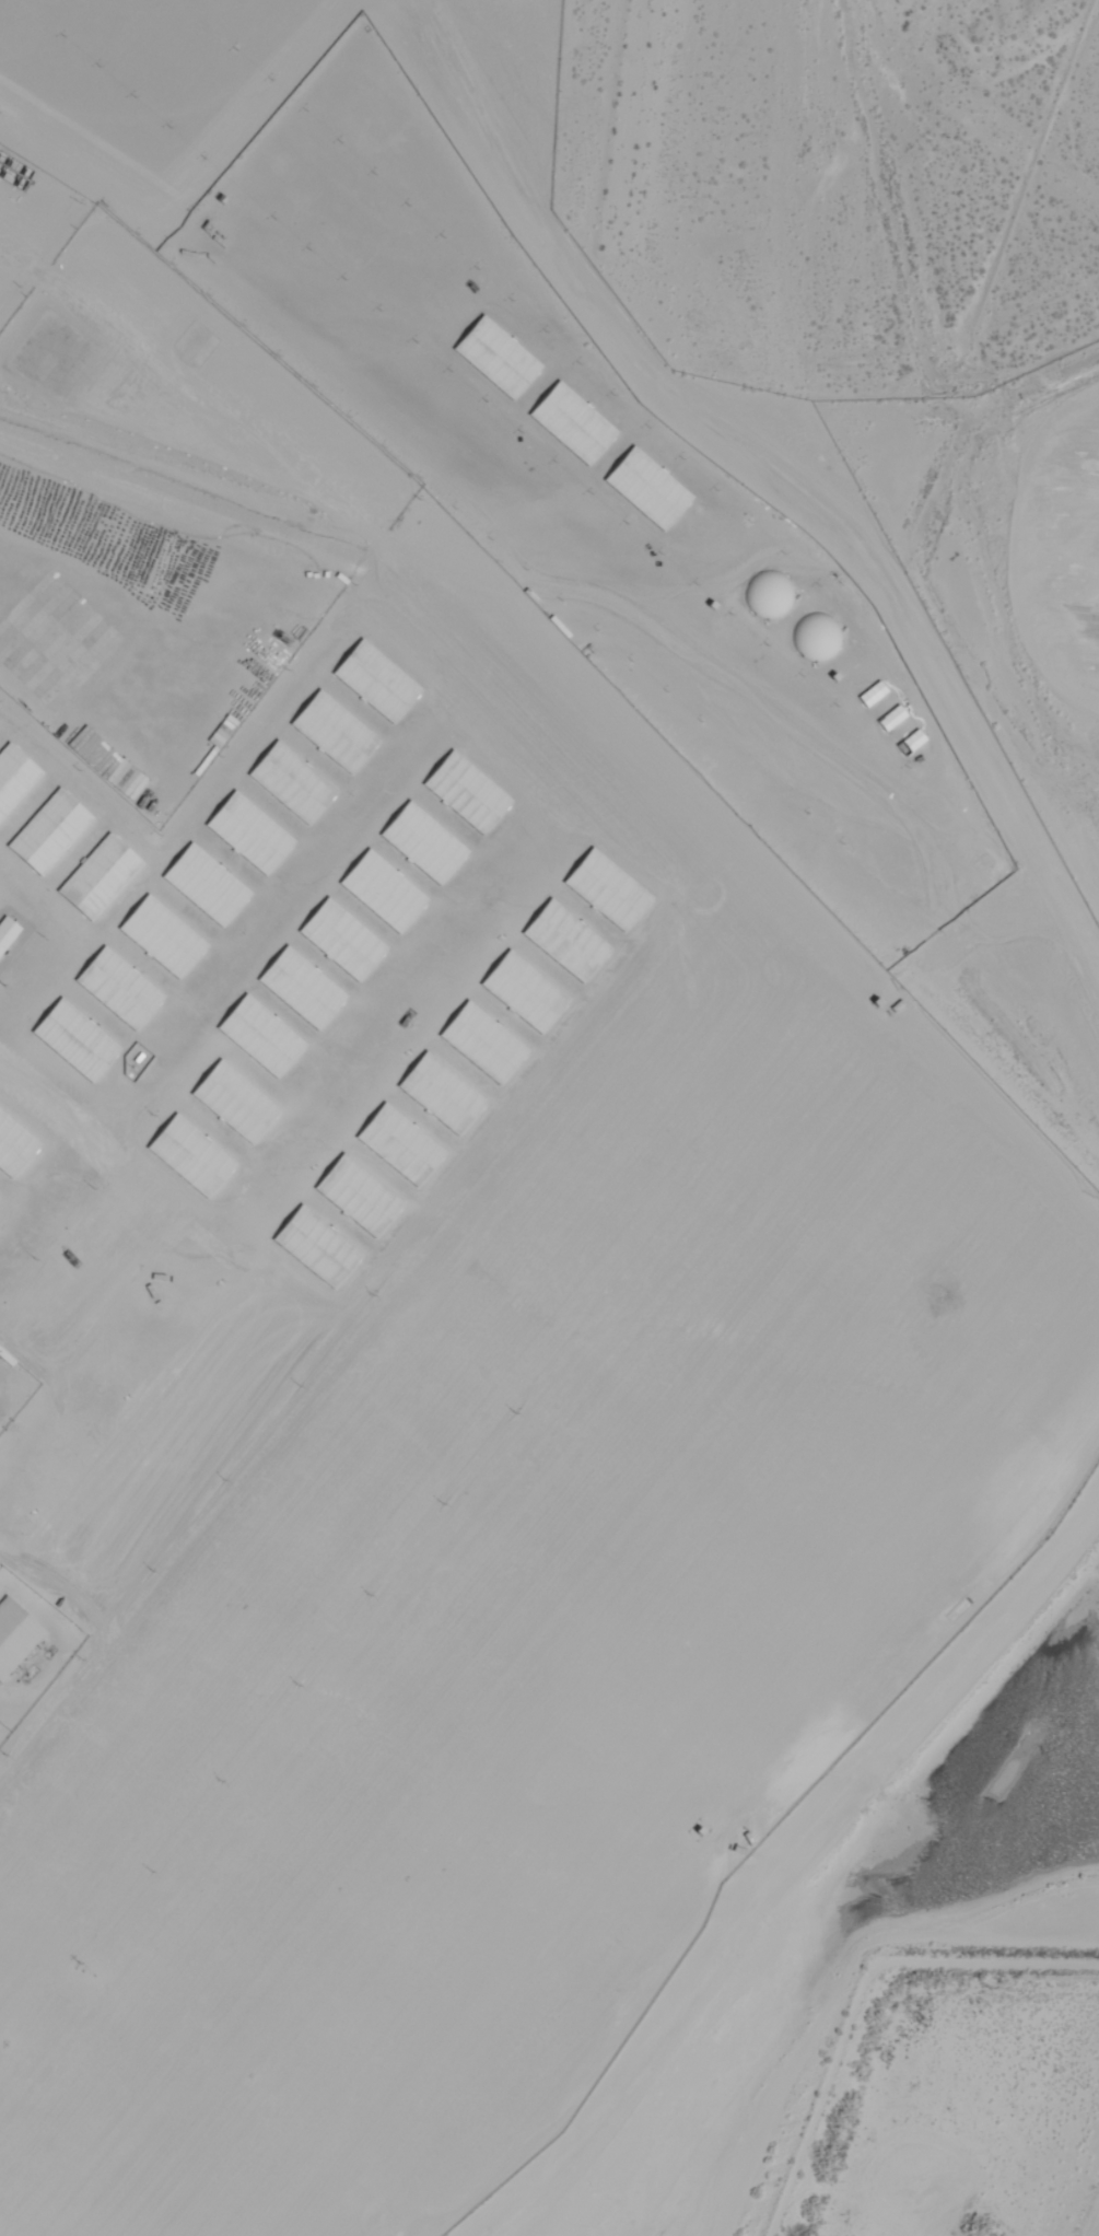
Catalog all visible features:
road: (318, 335)
building: (582, 397)
building: (598, 467)
road: (773, 477)
building: (8, 522)
building: (24, 571)
building: (769, 594)
building: (819, 630)
building: (399, 648)
building: (365, 691)
building: (84, 692)
building: (508, 718)
building: (330, 735)
building: (472, 764)
building: (15, 778)
building: (294, 781)
building: (436, 811)
building: (51, 831)
building: (252, 834)
building: (101, 877)
building: (409, 883)
building: (208, 885)
building: (456, 897)
building: (8, 933)
building: (164, 938)
building: (121, 989)
building: (289, 1000)
building: (78, 1040)
road: (827, 1908)

